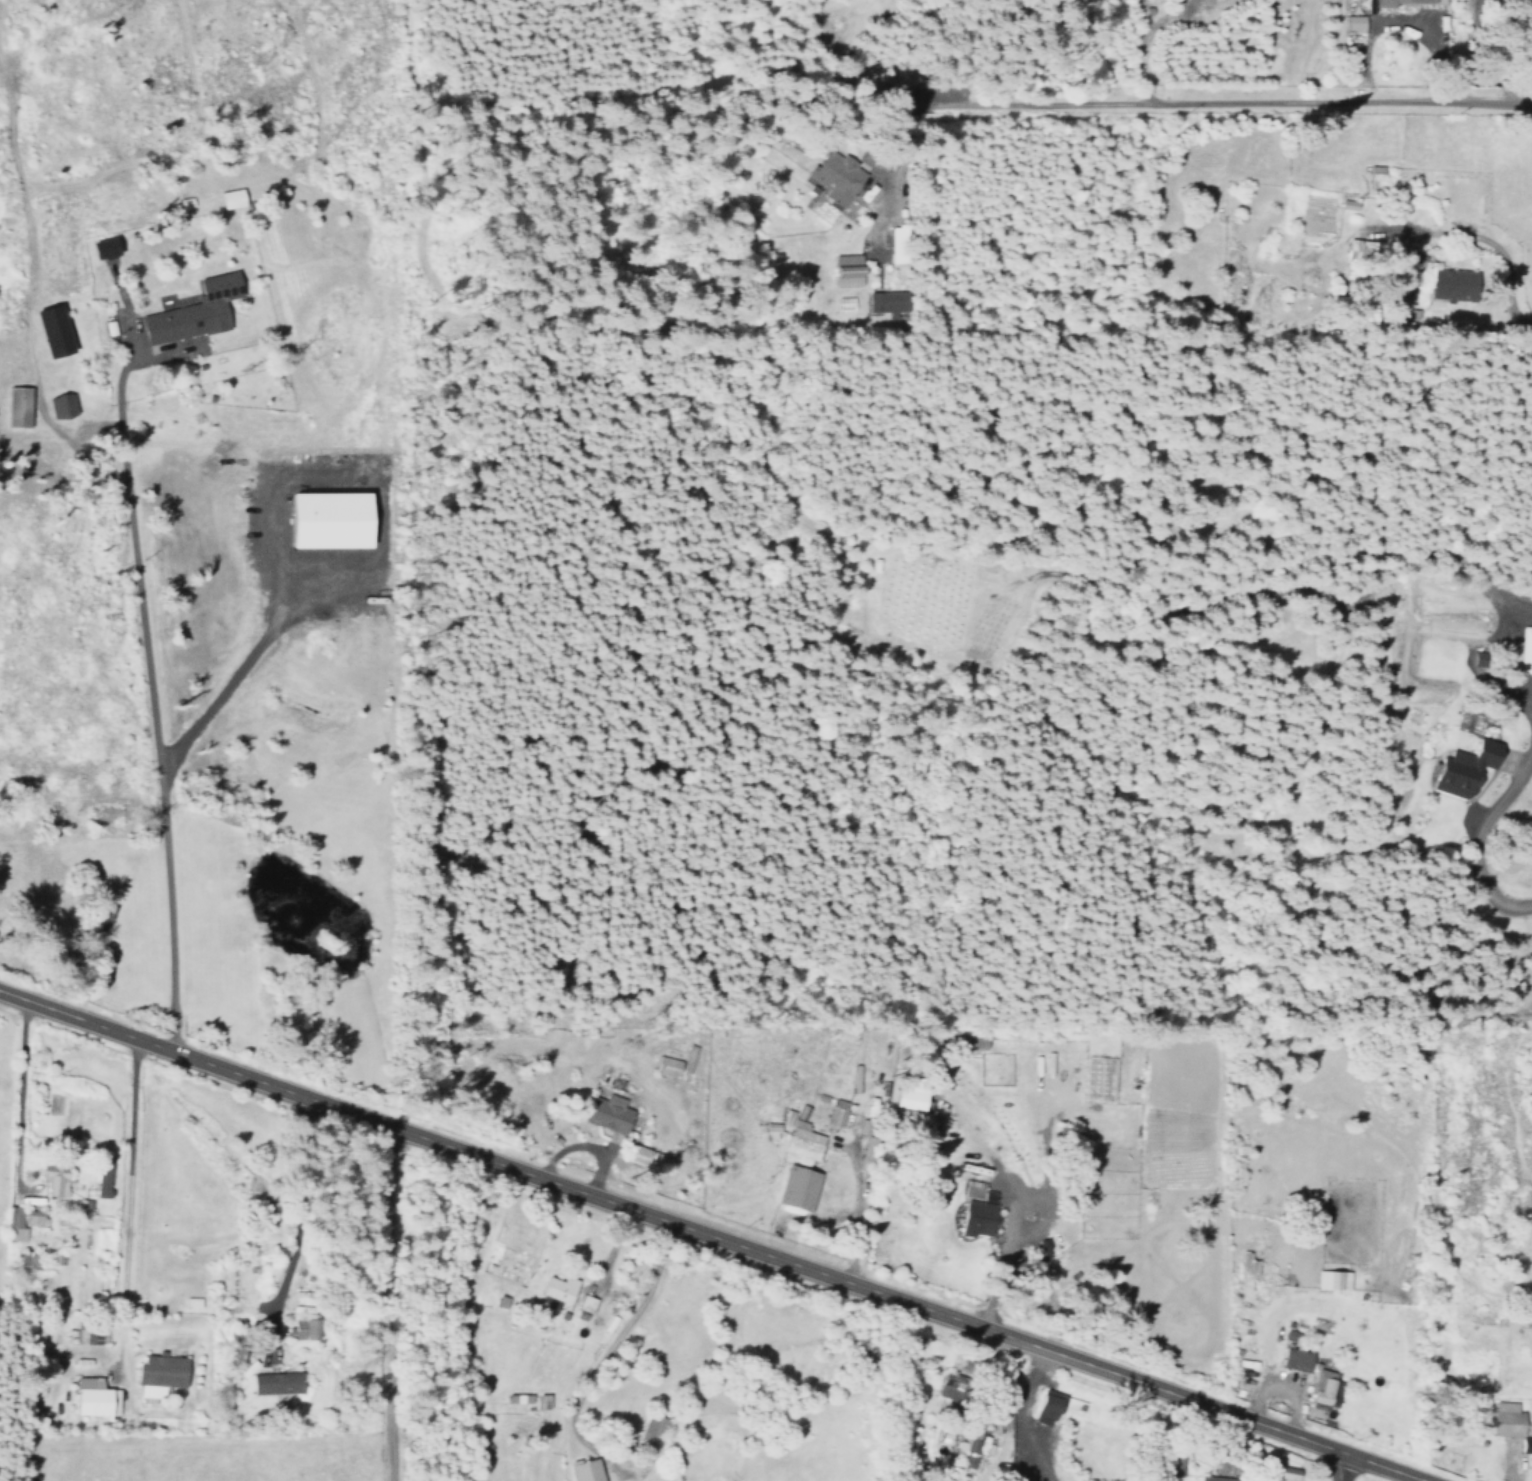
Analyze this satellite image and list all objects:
building: (1402, 2)
building: (1353, 22)
road: (1199, 107)
building: (836, 177)
building: (229, 198)
road: (1399, 230)
building: (1355, 245)
building: (844, 270)
building: (1451, 283)
building: (887, 302)
building: (192, 311)
building: (55, 330)
building: (61, 405)
building: (20, 406)
building: (321, 519)
building: (1525, 650)
road: (149, 716)
building: (1461, 718)
road: (1508, 760)
building: (1462, 769)
road: (1471, 835)
building: (971, 1041)
building: (1098, 1078)
road: (16, 1095)
building: (908, 1095)
building: (607, 1112)
building: (836, 1112)
building: (801, 1142)
building: (57, 1178)
building: (105, 1181)
building: (796, 1188)
road: (296, 1198)
road: (856, 1207)
building: (975, 1209)
building: (25, 1221)
road: (710, 1234)
building: (29, 1258)
building: (1245, 1263)
building: (1331, 1279)
building: (557, 1289)
building: (615, 1297)
building: (585, 1304)
road: (1514, 1323)
building: (91, 1331)
building: (1294, 1359)
road: (601, 1361)
building: (163, 1375)
building: (274, 1383)
building: (948, 1386)
building: (94, 1397)
building: (507, 1397)
building: (522, 1397)
building: (539, 1400)
building: (1047, 1405)
building: (1511, 1420)
building: (652, 1427)
building: (1526, 1444)
building: (972, 1447)
crop: (201, 1457)
road: (1337, 1467)
building: (581, 1470)
building: (1282, 1472)
building: (1214, 1478)

